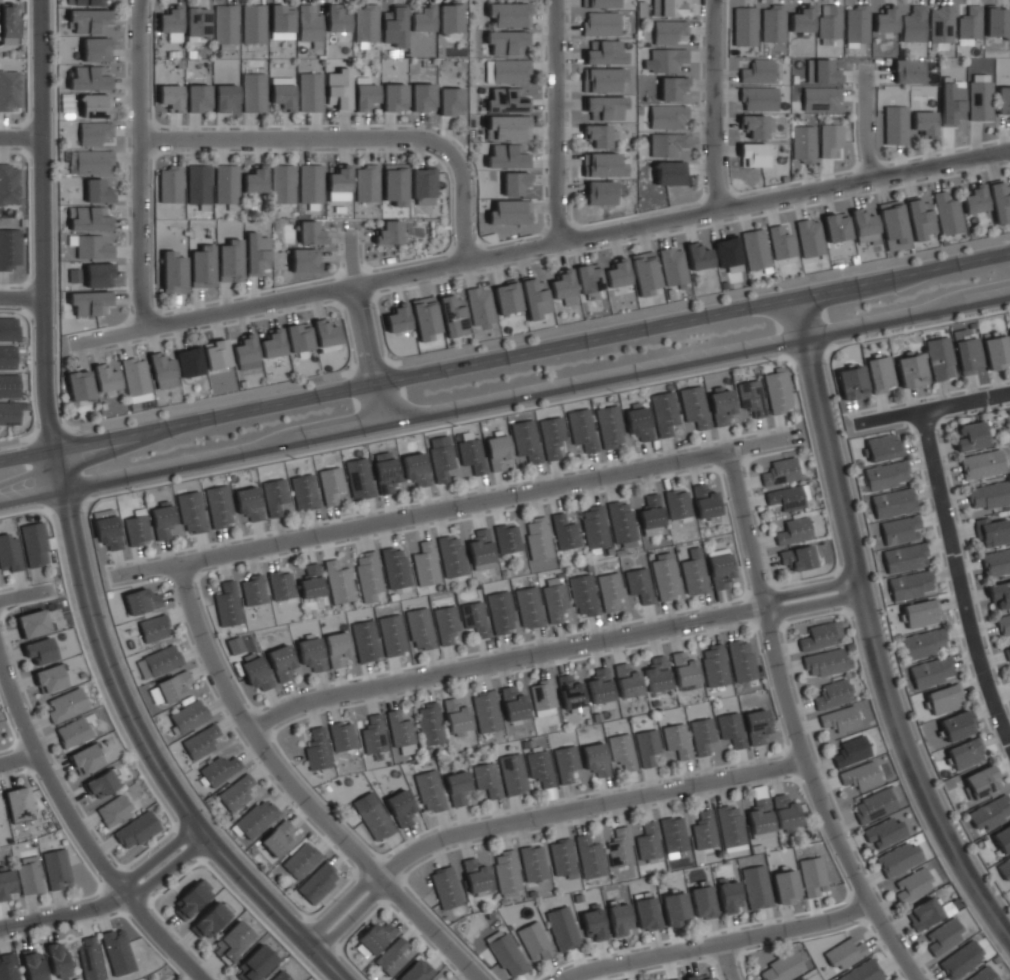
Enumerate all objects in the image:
building: (85, 2)
building: (601, 3)
building: (669, 7)
building: (508, 14)
building: (281, 18)
building: (337, 18)
building: (449, 18)
building: (422, 19)
building: (801, 19)
building: (885, 19)
building: (89, 20)
building: (996, 21)
building: (171, 23)
building: (197, 23)
building: (772, 23)
building: (829, 23)
building: (969, 23)
building: (8, 24)
building: (253, 24)
building: (600, 24)
building: (856, 24)
building: (913, 24)
building: (940, 24)
building: (309, 25)
building: (365, 25)
building: (394, 25)
building: (744, 26)
building: (225, 27)
building: (668, 31)
building: (507, 42)
building: (96, 49)
building: (605, 53)
building: (666, 59)
building: (507, 71)
building: (757, 71)
building: (906, 71)
building: (823, 72)
building: (89, 78)
building: (603, 79)
building: (671, 88)
building: (9, 89)
building: (338, 89)
building: (253, 92)
building: (282, 92)
building: (310, 92)
building: (364, 95)
building: (170, 97)
building: (225, 97)
building: (394, 97)
building: (422, 97)
building: (197, 98)
building: (758, 98)
building: (820, 99)
building: (507, 100)
building: (980, 100)
building: (1003, 100)
building: (450, 101)
building: (951, 102)
building: (95, 105)
road: (712, 105)
building: (604, 107)
building: (667, 116)
road: (553, 121)
road: (863, 122)
building: (924, 123)
building: (755, 125)
building: (894, 125)
building: (509, 127)
building: (94, 132)
building: (599, 135)
road: (18, 136)
road: (350, 139)
building: (830, 140)
building: (803, 143)
building: (666, 144)
building: (753, 154)
building: (507, 156)
building: (93, 162)
road: (137, 164)
building: (603, 165)
building: (669, 173)
building: (339, 179)
building: (255, 180)
building: (514, 182)
building: (225, 183)
building: (309, 183)
building: (366, 183)
building: (394, 183)
building: (9, 184)
building: (170, 184)
building: (282, 184)
building: (198, 185)
building: (422, 185)
building: (97, 191)
building: (599, 192)
building: (974, 199)
building: (999, 200)
building: (510, 212)
building: (947, 213)
building: (919, 217)
building: (89, 218)
road: (38, 225)
building: (893, 225)
building: (864, 226)
building: (836, 227)
building: (389, 232)
building: (311, 233)
building: (809, 237)
building: (781, 243)
building: (91, 246)
road: (540, 246)
building: (9, 248)
building: (755, 249)
building: (727, 251)
building: (256, 253)
building: (698, 256)
building: (304, 260)
building: (230, 261)
building: (672, 266)
building: (202, 267)
building: (173, 272)
building: (644, 272)
building: (617, 273)
building: (99, 275)
building: (589, 281)
building: (563, 287)
road: (19, 297)
building: (506, 297)
building: (534, 297)
building: (90, 302)
building: (479, 306)
building: (452, 315)
building: (424, 317)
building: (397, 318)
road: (363, 328)
building: (8, 329)
building: (1009, 332)
building: (325, 333)
building: (298, 337)
road: (505, 341)
building: (272, 344)
building: (996, 352)
building: (245, 353)
building: (216, 354)
building: (968, 355)
road: (505, 356)
building: (7, 357)
building: (939, 358)
building: (189, 361)
building: (911, 370)
building: (162, 371)
building: (880, 374)
building: (106, 377)
building: (135, 378)
building: (852, 382)
building: (79, 384)
building: (9, 385)
building: (777, 390)
road: (505, 396)
building: (751, 397)
building: (694, 406)
building: (721, 406)
road: (931, 409)
building: (9, 412)
building: (664, 412)
building: (638, 422)
building: (609, 426)
building: (582, 429)
building: (969, 436)
building: (552, 437)
building: (526, 440)
building: (883, 447)
building: (498, 452)
building: (471, 455)
building: (441, 461)
building: (981, 464)
building: (415, 469)
building: (385, 471)
building: (780, 472)
building: (886, 475)
building: (359, 478)
building: (330, 484)
building: (304, 492)
building: (274, 495)
building: (988, 495)
building: (788, 497)
building: (704, 501)
building: (248, 502)
building: (893, 502)
building: (677, 503)
building: (219, 506)
road: (449, 509)
building: (191, 512)
building: (650, 514)
building: (162, 521)
building: (621, 523)
building: (137, 528)
building: (594, 528)
building: (900, 529)
building: (107, 531)
building: (793, 531)
building: (994, 531)
building: (564, 532)
building: (507, 537)
building: (537, 538)
building: (34, 544)
building: (480, 550)
building: (9, 553)
building: (450, 555)
building: (797, 557)
building: (905, 557)
building: (996, 562)
building: (425, 564)
building: (394, 567)
building: (719, 567)
building: (693, 572)
building: (367, 575)
building: (664, 577)
building: (310, 581)
building: (338, 581)
road: (957, 581)
building: (280, 584)
building: (639, 584)
building: (911, 584)
building: (253, 590)
building: (609, 590)
building: (1000, 594)
building: (583, 595)
road: (24, 596)
building: (554, 598)
building: (141, 600)
building: (227, 604)
building: (528, 606)
building: (500, 612)
building: (920, 613)
building: (474, 617)
building: (32, 623)
building: (446, 623)
building: (1003, 625)
building: (153, 628)
building: (419, 628)
building: (392, 634)
building: (821, 634)
road: (868, 634)
building: (365, 640)
building: (923, 643)
building: (234, 645)
building: (336, 648)
building: (40, 650)
road: (549, 652)
building: (311, 653)
building: (1008, 653)
building: (161, 660)
building: (741, 661)
building: (282, 662)
building: (825, 662)
building: (714, 665)
building: (684, 669)
building: (255, 671)
building: (931, 671)
building: (656, 674)
building: (49, 678)
building: (626, 680)
building: (173, 686)
building: (599, 686)
building: (570, 693)
building: (832, 693)
building: (542, 698)
building: (944, 698)
building: (512, 704)
building: (66, 705)
building: (485, 711)
building: (188, 716)
building: (456, 716)
building: (838, 718)
building: (429, 723)
building: (957, 725)
building: (756, 726)
road: (790, 727)
building: (730, 729)
building: (400, 732)
building: (73, 733)
building: (373, 734)
building: (701, 735)
building: (341, 736)
building: (676, 740)
building: (201, 741)
road: (143, 743)
building: (646, 746)
building: (317, 749)
building: (850, 750)
building: (621, 751)
building: (965, 753)
road: (16, 758)
building: (85, 758)
building: (595, 759)
building: (565, 763)
building: (540, 768)
building: (219, 769)
building: (512, 773)
building: (859, 775)
building: (486, 779)
building: (981, 781)
building: (101, 784)
building: (457, 787)
building: (429, 790)
building: (235, 793)
road: (295, 793)
building: (17, 803)
building: (873, 805)
building: (400, 807)
building: (113, 811)
building: (990, 812)
building: (785, 813)
building: (372, 816)
road: (537, 817)
building: (256, 818)
building: (0, 819)
building: (760, 819)
building: (730, 827)
building: (704, 829)
building: (136, 830)
building: (883, 831)
building: (673, 834)
road: (81, 837)
building: (277, 837)
building: (1003, 839)
building: (648, 842)
building: (619, 847)
building: (589, 856)
building: (562, 857)
building: (898, 858)
building: (300, 859)
building: (532, 863)
building: (55, 867)
building: (1004, 868)
building: (506, 872)
building: (29, 875)
building: (811, 875)
building: (475, 876)
building: (317, 882)
building: (6, 884)
building: (912, 885)
building: (755, 886)
building: (785, 886)
building: (445, 887)
building: (728, 896)
building: (193, 898)
building: (702, 901)
road: (110, 902)
building: (674, 907)
building: (646, 913)
building: (924, 913)
building: (618, 918)
building: (209, 919)
building: (593, 922)
building: (562, 928)
building: (375, 936)
building: (942, 936)
building: (534, 940)
building: (232, 942)
road: (716, 945)
building: (845, 952)
building: (505, 953)
building: (391, 956)
building: (89, 958)
building: (57, 959)
building: (960, 959)
road: (724, 962)
building: (255, 963)
building: (33, 965)
building: (780, 967)
building: (415, 970)
building: (862, 971)
building: (981, 974)
building: (279, 976)
building: (696, 976)
building: (674, 979)
building: (802, 979)

